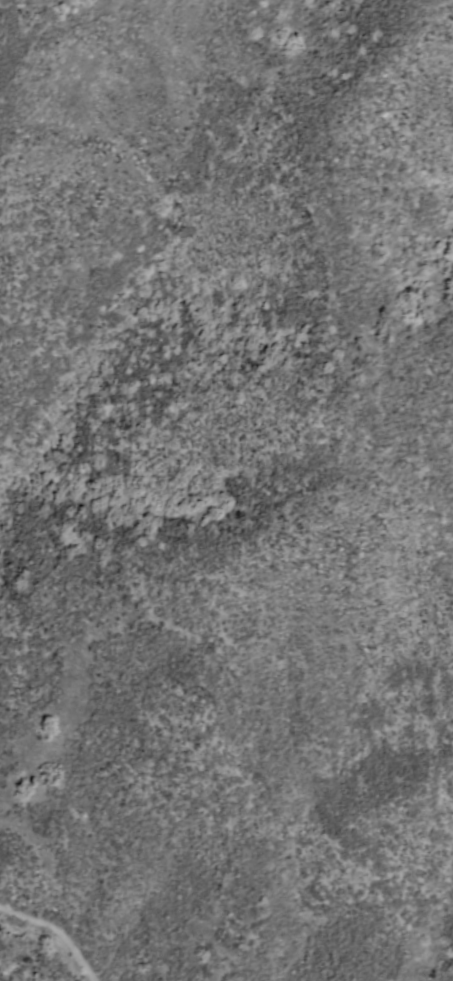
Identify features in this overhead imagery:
road: (57, 931)

